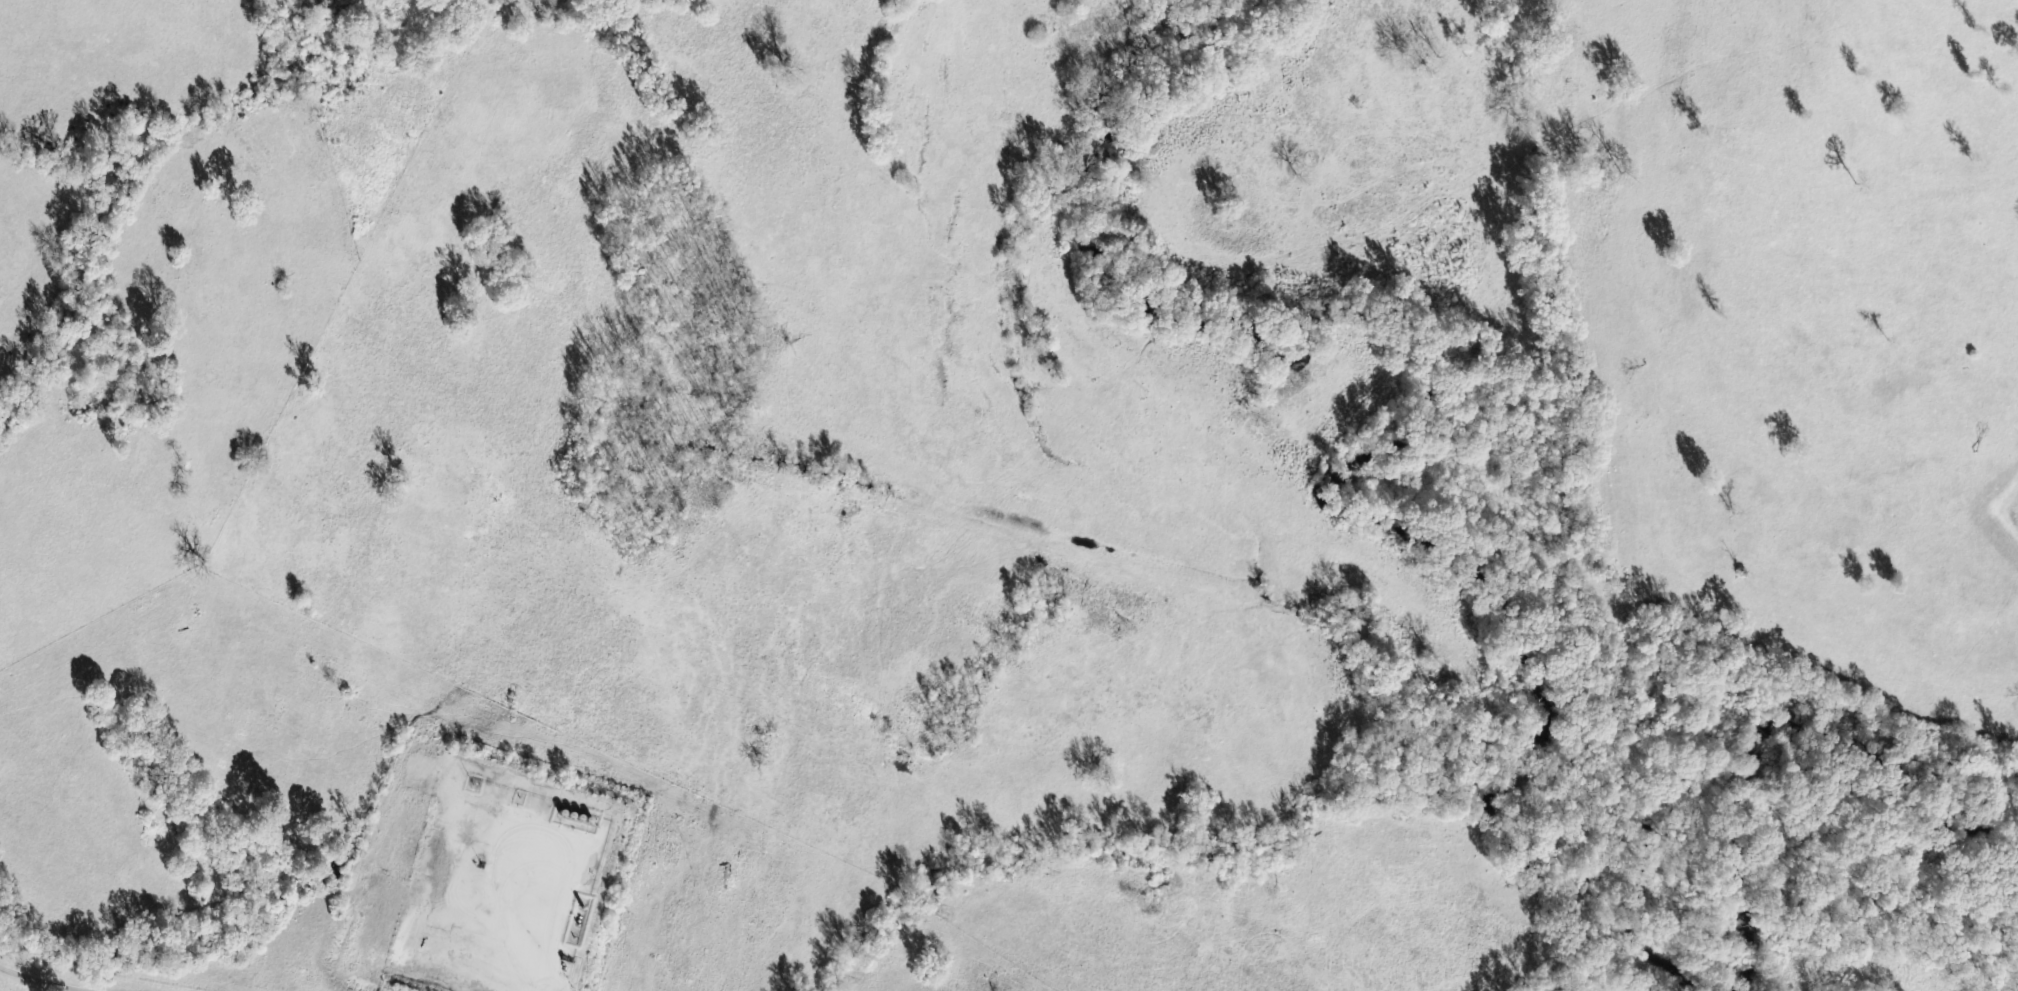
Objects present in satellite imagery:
road: (34, 978)

